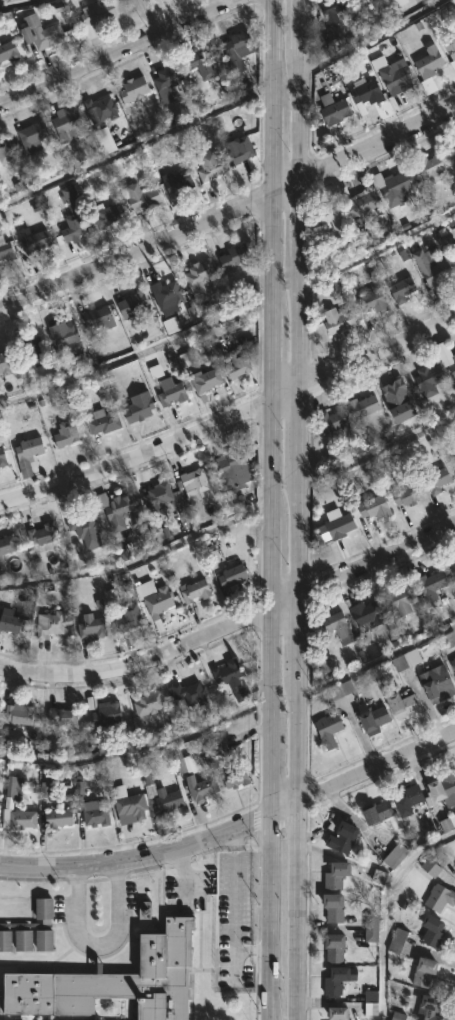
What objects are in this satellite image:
building: (152, 0)
building: (358, 1)
road: (15, 2)
building: (376, 2)
building: (398, 2)
building: (332, 10)
building: (96, 16)
road: (148, 17)
road: (297, 25)
building: (43, 32)
road: (97, 44)
building: (236, 49)
building: (9, 51)
road: (119, 52)
road: (273, 53)
building: (452, 56)
building: (202, 62)
building: (430, 63)
building: (169, 75)
building: (395, 76)
building: (135, 89)
building: (366, 93)
building: (103, 107)
building: (334, 110)
road: (298, 115)
building: (70, 124)
building: (33, 135)
building: (104, 140)
road: (377, 143)
building: (240, 149)
road: (271, 150)
building: (6, 151)
building: (452, 152)
building: (211, 168)
building: (430, 168)
building: (179, 184)
building: (393, 185)
road: (284, 186)
building: (140, 196)
building: (361, 200)
building: (106, 214)
building: (73, 215)
road: (298, 218)
building: (332, 220)
building: (36, 241)
building: (7, 250)
road: (136, 252)
building: (402, 253)
building: (236, 255)
road: (270, 255)
building: (454, 255)
building: (433, 269)
building: (200, 272)
building: (403, 289)
building: (168, 291)
building: (373, 301)
building: (135, 304)
building: (100, 316)
building: (339, 321)
road: (297, 323)
building: (170, 325)
building: (66, 334)
building: (33, 347)
road: (376, 354)
road: (270, 359)
building: (454, 360)
building: (5, 364)
building: (238, 364)
building: (453, 369)
building: (429, 381)
building: (206, 382)
building: (172, 392)
road: (283, 395)
building: (400, 400)
building: (364, 406)
building: (140, 407)
building: (332, 420)
building: (103, 421)
road: (297, 427)
building: (66, 433)
road: (270, 451)
building: (28, 454)
building: (2, 457)
road: (137, 458)
building: (235, 469)
building: (438, 479)
building: (195, 483)
building: (159, 495)
building: (407, 495)
building: (375, 507)
building: (116, 509)
building: (83, 526)
building: (340, 526)
road: (297, 530)
building: (43, 534)
building: (7, 545)
road: (270, 556)
road: (139, 559)
road: (377, 561)
building: (230, 563)
building: (453, 568)
building: (234, 574)
building: (432, 585)
building: (195, 591)
building: (110, 597)
building: (401, 600)
building: (158, 602)
road: (284, 603)
building: (368, 613)
building: (129, 618)
building: (10, 623)
building: (51, 624)
building: (92, 626)
building: (339, 627)
road: (298, 635)
building: (448, 640)
building: (405, 660)
road: (138, 663)
building: (453, 663)
road: (270, 670)
building: (233, 678)
building: (440, 684)
building: (342, 690)
building: (188, 693)
building: (91, 703)
building: (148, 704)
building: (404, 705)
building: (20, 714)
building: (107, 715)
building: (63, 716)
building: (373, 717)
building: (329, 729)
road: (138, 746)
building: (216, 747)
building: (184, 765)
road: (271, 776)
road: (376, 776)
building: (236, 777)
building: (444, 786)
building: (202, 788)
building: (12, 794)
building: (162, 794)
building: (410, 802)
building: (87, 804)
building: (130, 806)
building: (0, 807)
building: (379, 813)
road: (285, 816)
building: (22, 819)
building: (56, 819)
building: (440, 827)
building: (344, 838)
road: (297, 847)
road: (137, 856)
building: (396, 856)
building: (430, 868)
building: (337, 875)
building: (439, 897)
building: (335, 908)
road: (231, 920)
road: (271, 920)
building: (30, 927)
building: (372, 929)
building: (433, 931)
building: (398, 941)
road: (96, 942)
road: (251, 949)
building: (335, 949)
building: (425, 972)
building: (368, 976)
building: (113, 980)
building: (338, 980)
building: (370, 1003)
building: (429, 1008)
building: (340, 1014)
building: (397, 1016)

